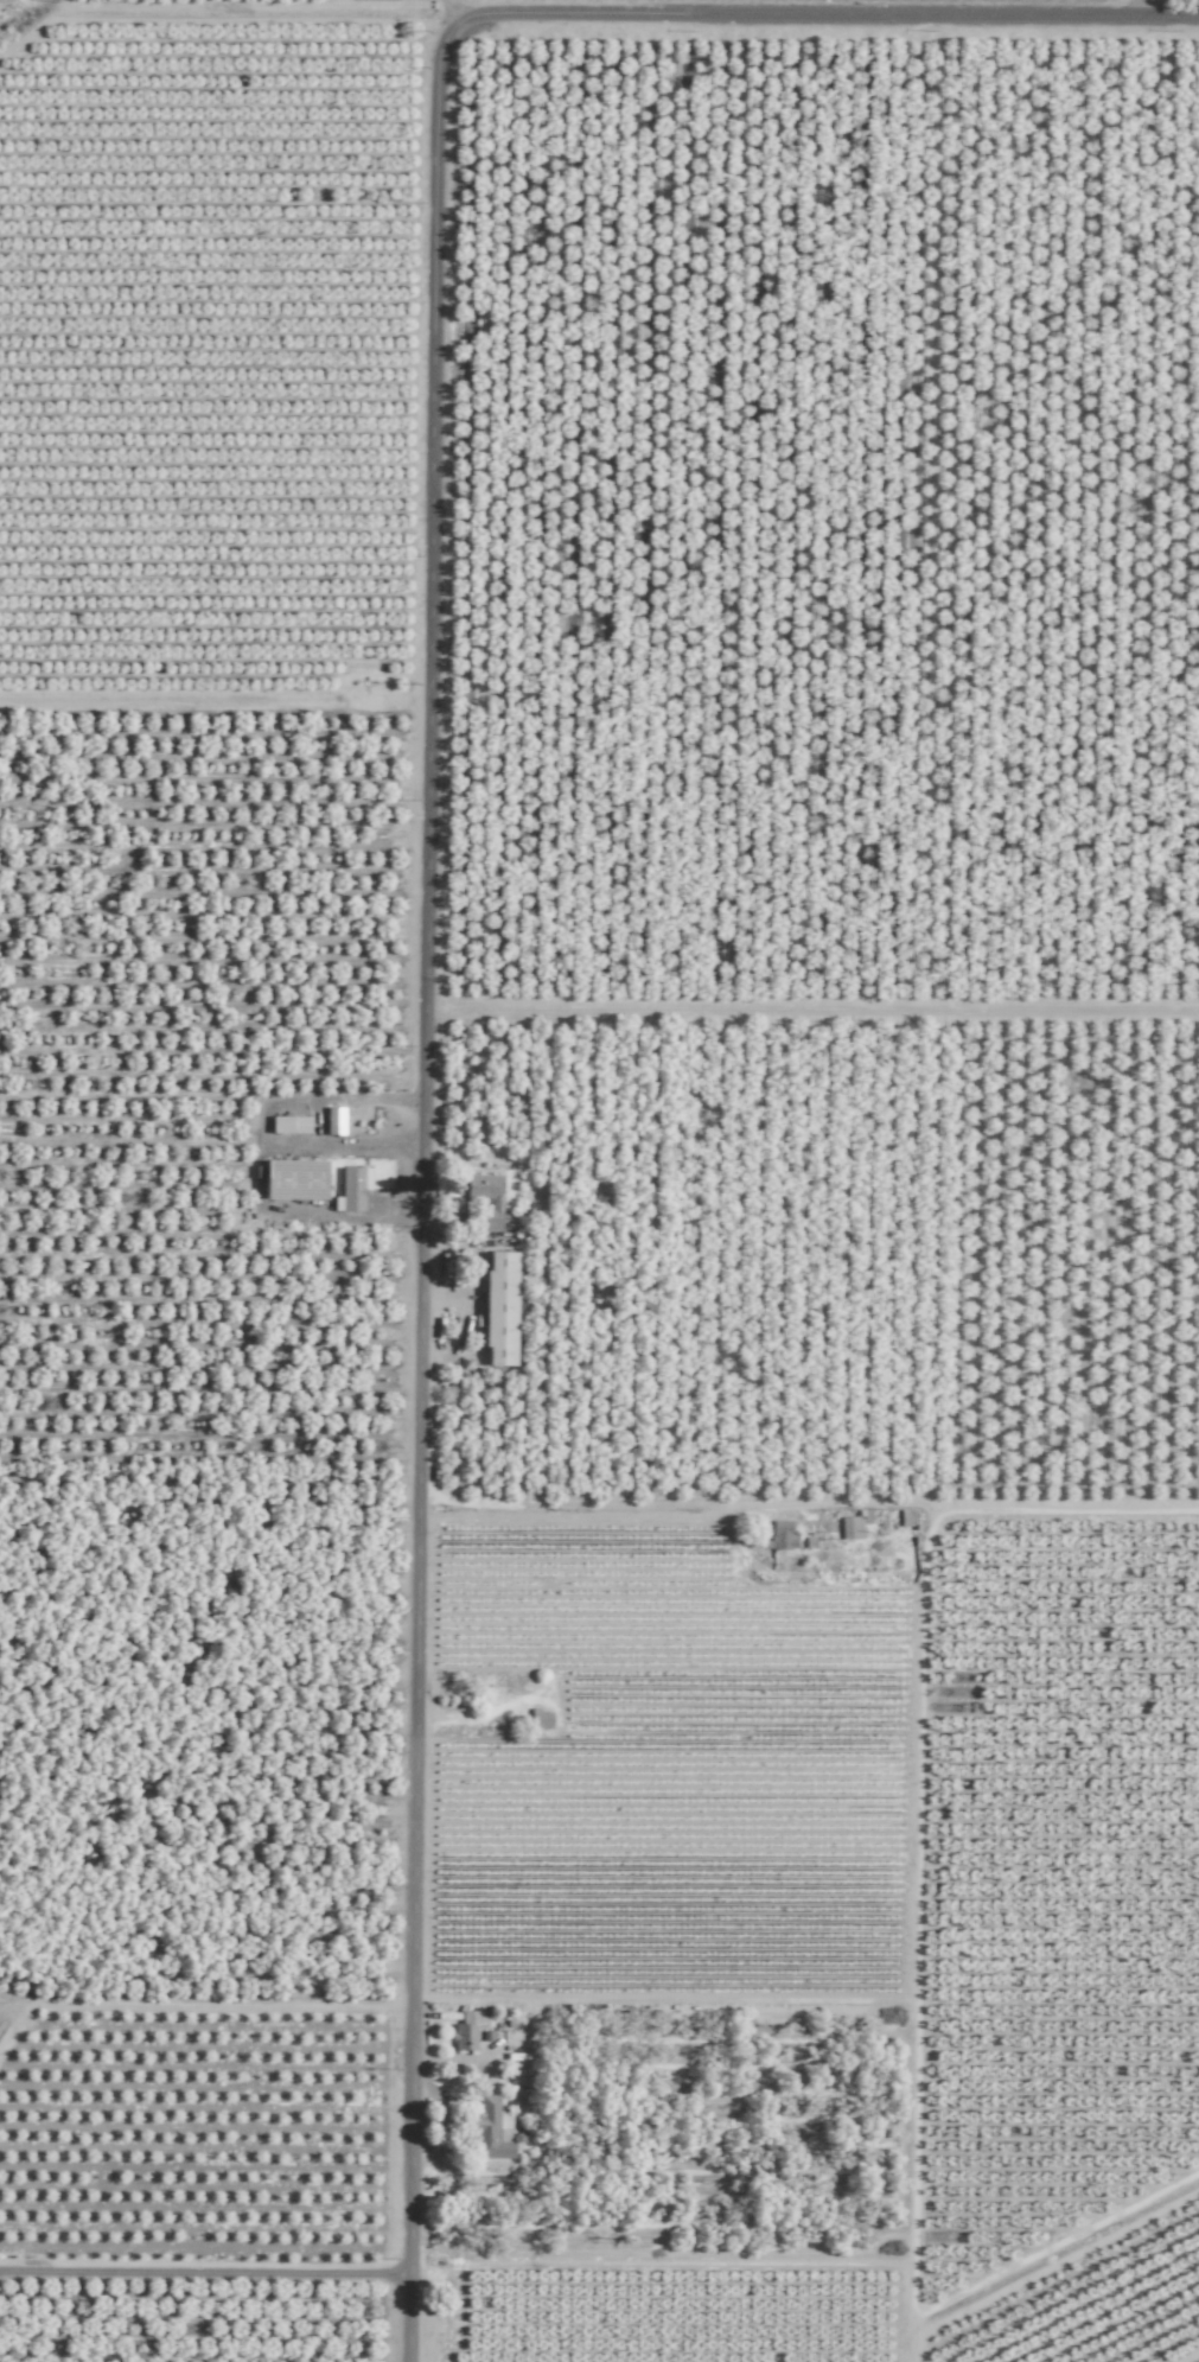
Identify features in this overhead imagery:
road: (451, 15)
road: (822, 19)
building: (334, 1120)
building: (289, 1125)
road: (350, 1144)
building: (294, 1179)
crop: (599, 1180)
road: (420, 1196)
building: (484, 1199)
building: (499, 1309)
building: (850, 1528)
building: (782, 1536)
building: (468, 2027)
building: (490, 2129)
road: (206, 2273)

